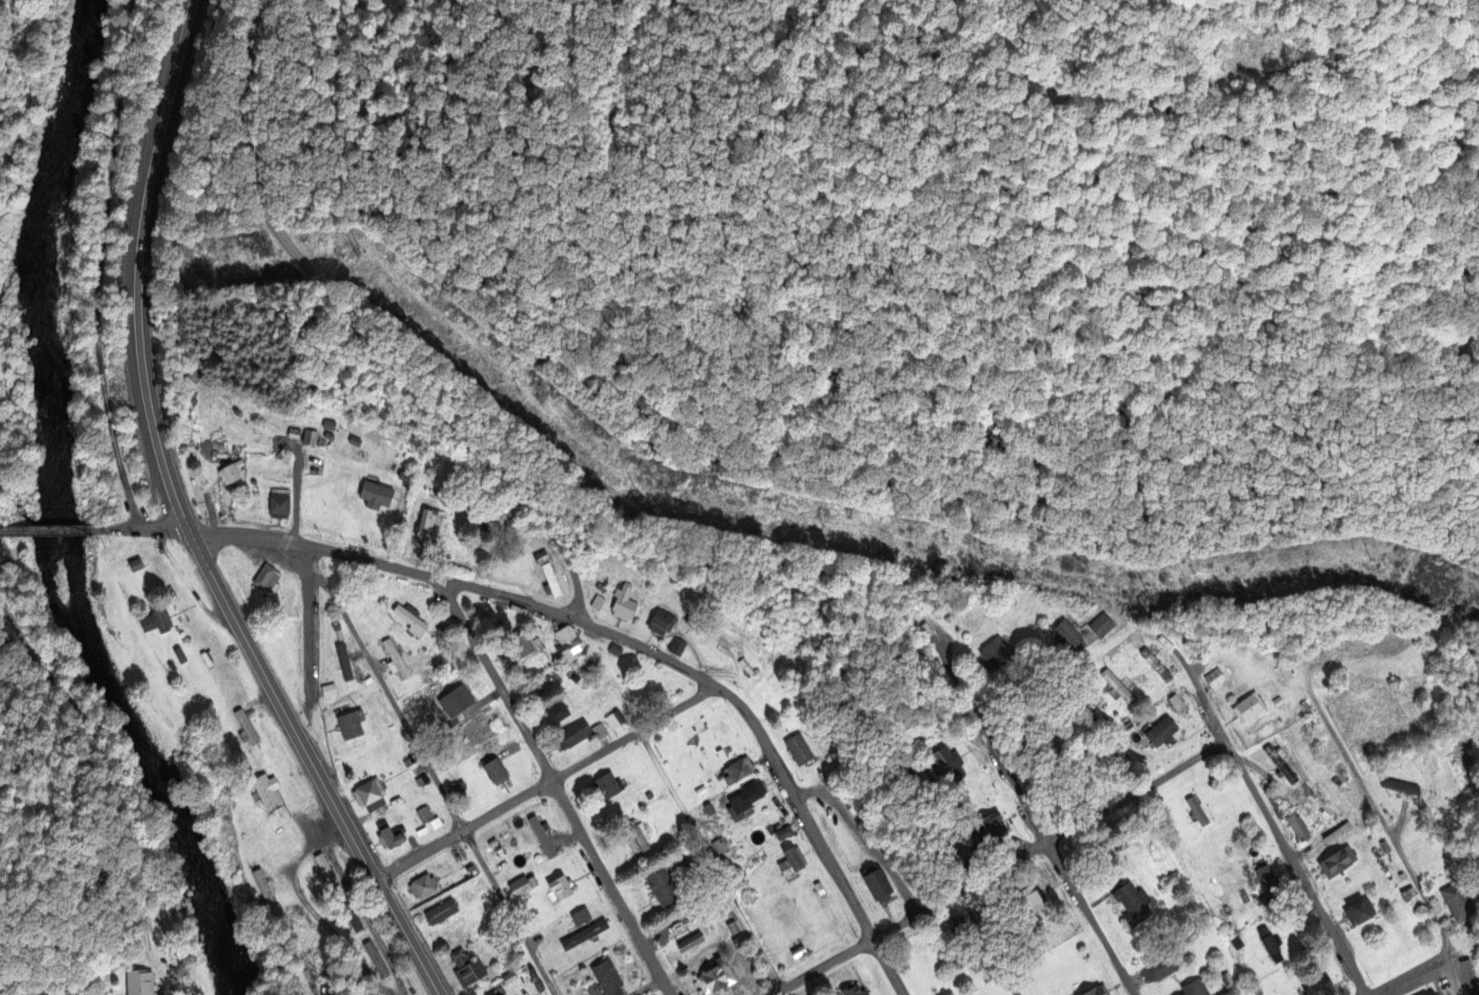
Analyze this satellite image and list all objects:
road: (101, 265)
road: (146, 267)
road: (373, 328)
building: (308, 439)
building: (228, 470)
building: (264, 471)
building: (374, 493)
building: (279, 504)
building: (340, 513)
building: (423, 527)
road: (120, 529)
road: (49, 530)
road: (166, 532)
building: (135, 564)
building: (550, 578)
building: (266, 579)
building: (623, 602)
building: (156, 621)
building: (661, 622)
building: (412, 623)
building: (1096, 628)
road: (311, 631)
building: (1064, 636)
building: (568, 637)
building: (725, 641)
building: (523, 644)
road: (632, 646)
building: (613, 649)
building: (677, 649)
building: (995, 651)
building: (396, 658)
building: (1155, 663)
building: (1283, 672)
building: (1215, 677)
road: (1193, 681)
building: (1115, 685)
building: (1175, 704)
building: (1247, 708)
building: (555, 710)
building: (613, 722)
building: (349, 723)
building: (243, 725)
building: (477, 728)
building: (1159, 732)
building: (569, 735)
road: (1099, 748)
building: (798, 749)
building: (1281, 763)
building: (946, 765)
road: (311, 767)
building: (495, 769)
building: (737, 770)
road: (431, 771)
building: (605, 785)
road: (549, 786)
road: (559, 788)
building: (264, 790)
road: (88, 794)
building: (368, 794)
building: (746, 796)
road: (1374, 807)
building: (1196, 811)
building: (423, 814)
building: (1298, 825)
building: (986, 830)
building: (634, 835)
building: (385, 837)
building: (541, 838)
building: (511, 852)
building: (790, 855)
building: (1336, 860)
road: (1057, 861)
road: (714, 864)
building: (326, 870)
road: (1297, 870)
road: (1004, 871)
building: (1263, 877)
building: (875, 884)
building: (423, 885)
building: (661, 886)
building: (518, 887)
building: (263, 888)
building: (559, 889)
building: (1028, 900)
road: (314, 903)
building: (1131, 903)
building: (1455, 903)
building: (1357, 910)
building: (440, 911)
building: (579, 913)
building: (350, 915)
building: (956, 925)
building: (584, 935)
building: (740, 942)
road: (988, 944)
building: (376, 959)
building: (466, 968)
building: (1162, 969)
road: (1456, 976)
building: (605, 978)
road: (1409, 978)
building: (512, 979)
building: (711, 979)
building: (140, 983)
building: (1319, 987)
building: (851, 989)
building: (1194, 989)
building: (1096, 990)
building: (1431, 994)

